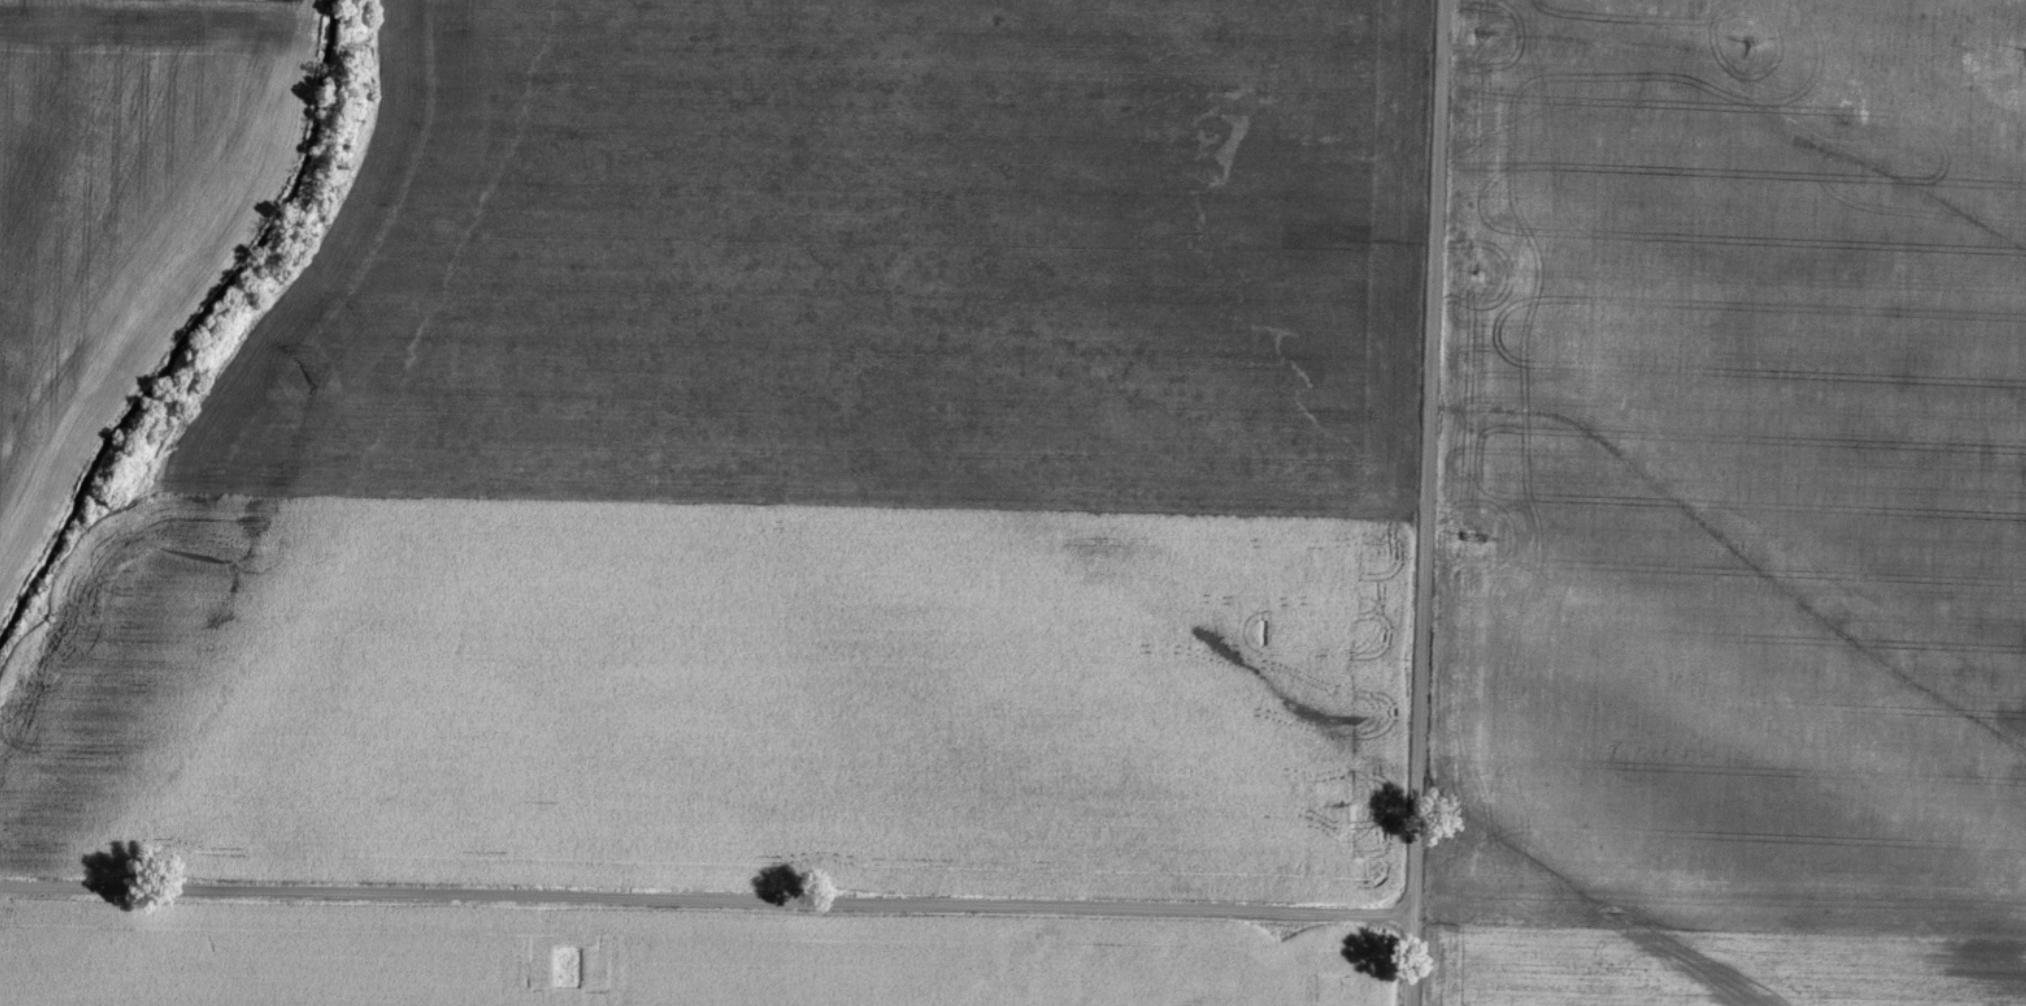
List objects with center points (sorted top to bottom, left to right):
road: (1427, 502)
road: (706, 901)

